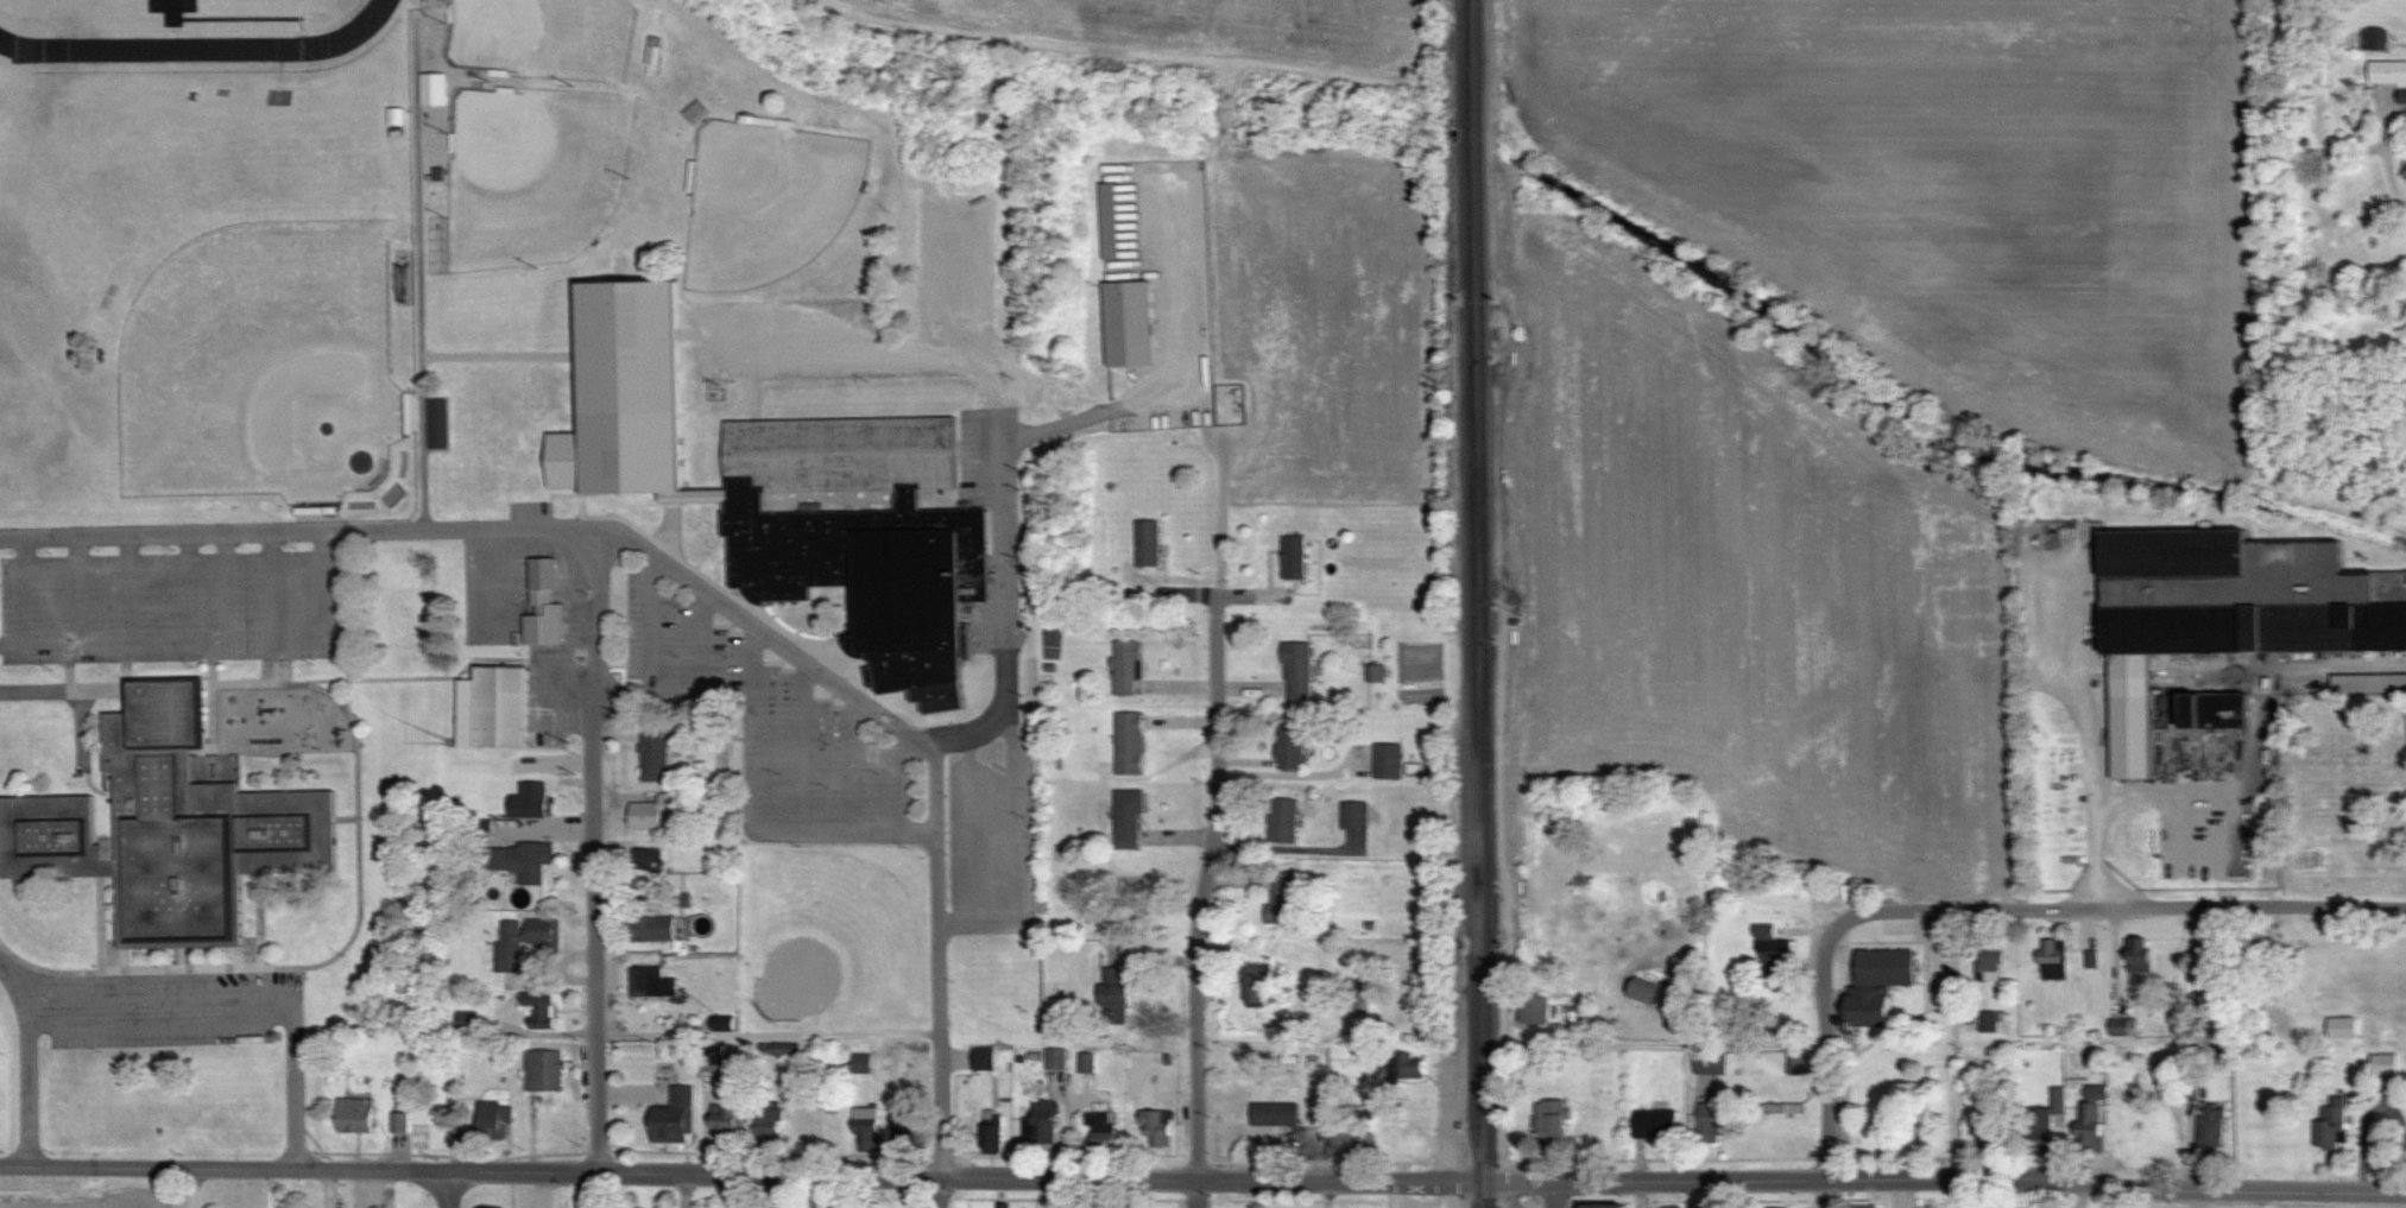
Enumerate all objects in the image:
building: (2377, 40)
track: (198, 44)
building: (651, 55)
building: (2322, 72)
building: (2387, 72)
building: (432, 89)
building: (695, 112)
building: (1107, 221)
building: (1126, 323)
building: (437, 424)
building: (783, 491)
road: (1003, 506)
road: (295, 530)
building: (1144, 543)
building: (1290, 556)
railway: (1471, 603)
railway: (1483, 603)
building: (543, 606)
building: (2215, 613)
road: (804, 658)
building: (1125, 666)
building: (1295, 670)
building: (1372, 672)
building: (2369, 683)
road: (59, 689)
building: (493, 708)
building: (2215, 709)
road: (2091, 732)
building: (1128, 744)
building: (1288, 747)
building: (653, 754)
building: (1385, 761)
road: (2222, 789)
building: (529, 802)
building: (653, 814)
building: (1352, 815)
building: (1126, 820)
building: (1281, 820)
building: (169, 829)
building: (648, 859)
building: (522, 861)
building: (1282, 900)
road: (2121, 907)
road: (1199, 913)
building: (650, 930)
building: (542, 934)
road: (596, 944)
building: (510, 945)
building: (1774, 954)
building: (2139, 954)
building: (1988, 957)
building: (2052, 960)
building: (651, 982)
building: (1253, 985)
building: (1362, 986)
building: (1877, 986)
building: (1642, 993)
building: (1113, 995)
road: (242, 1007)
building: (1534, 1010)
building: (541, 1012)
building: (465, 1020)
building: (1988, 1023)
road: (1278, 1042)
building: (778, 1050)
building: (713, 1057)
building: (1054, 1057)
road: (29, 1058)
building: (981, 1058)
building: (1085, 1062)
building: (860, 1063)
building: (1710, 1063)
building: (2383, 1063)
building: (1409, 1065)
building: (1796, 1065)
road: (1827, 1065)
building: (544, 1070)
building: (2096, 1092)
building: (1781, 1107)
building: (1273, 1113)
building: (355, 1115)
building: (674, 1118)
building: (902, 1119)
building: (494, 1120)
building: (725, 1121)
road: (941, 1121)
building: (1552, 1121)
building: (399, 1122)
building: (1713, 1122)
building: (1040, 1124)
building: (2042, 1124)
building: (2331, 1124)
building: (1655, 1125)
building: (2089, 1126)
building: (769, 1127)
building: (1155, 1127)
building: (2211, 1127)
building: (865, 1130)
building: (1100, 1130)
building: (989, 1136)
building: (1984, 1136)
building: (1349, 1145)
road: (1202, 1182)
road: (189, 1189)
road: (451, 1191)
road: (687, 1191)
road: (1061, 1194)
road: (1325, 1195)
road: (1554, 1195)
building: (1002, 1204)
building: (1603, 1206)
building: (1669, 1206)
building: (1863, 1206)

